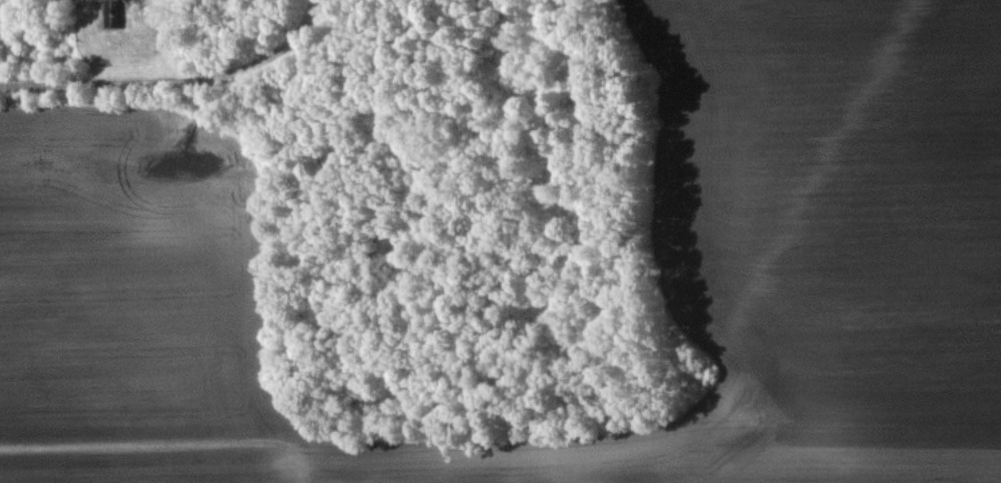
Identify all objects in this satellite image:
road: (173, 86)

